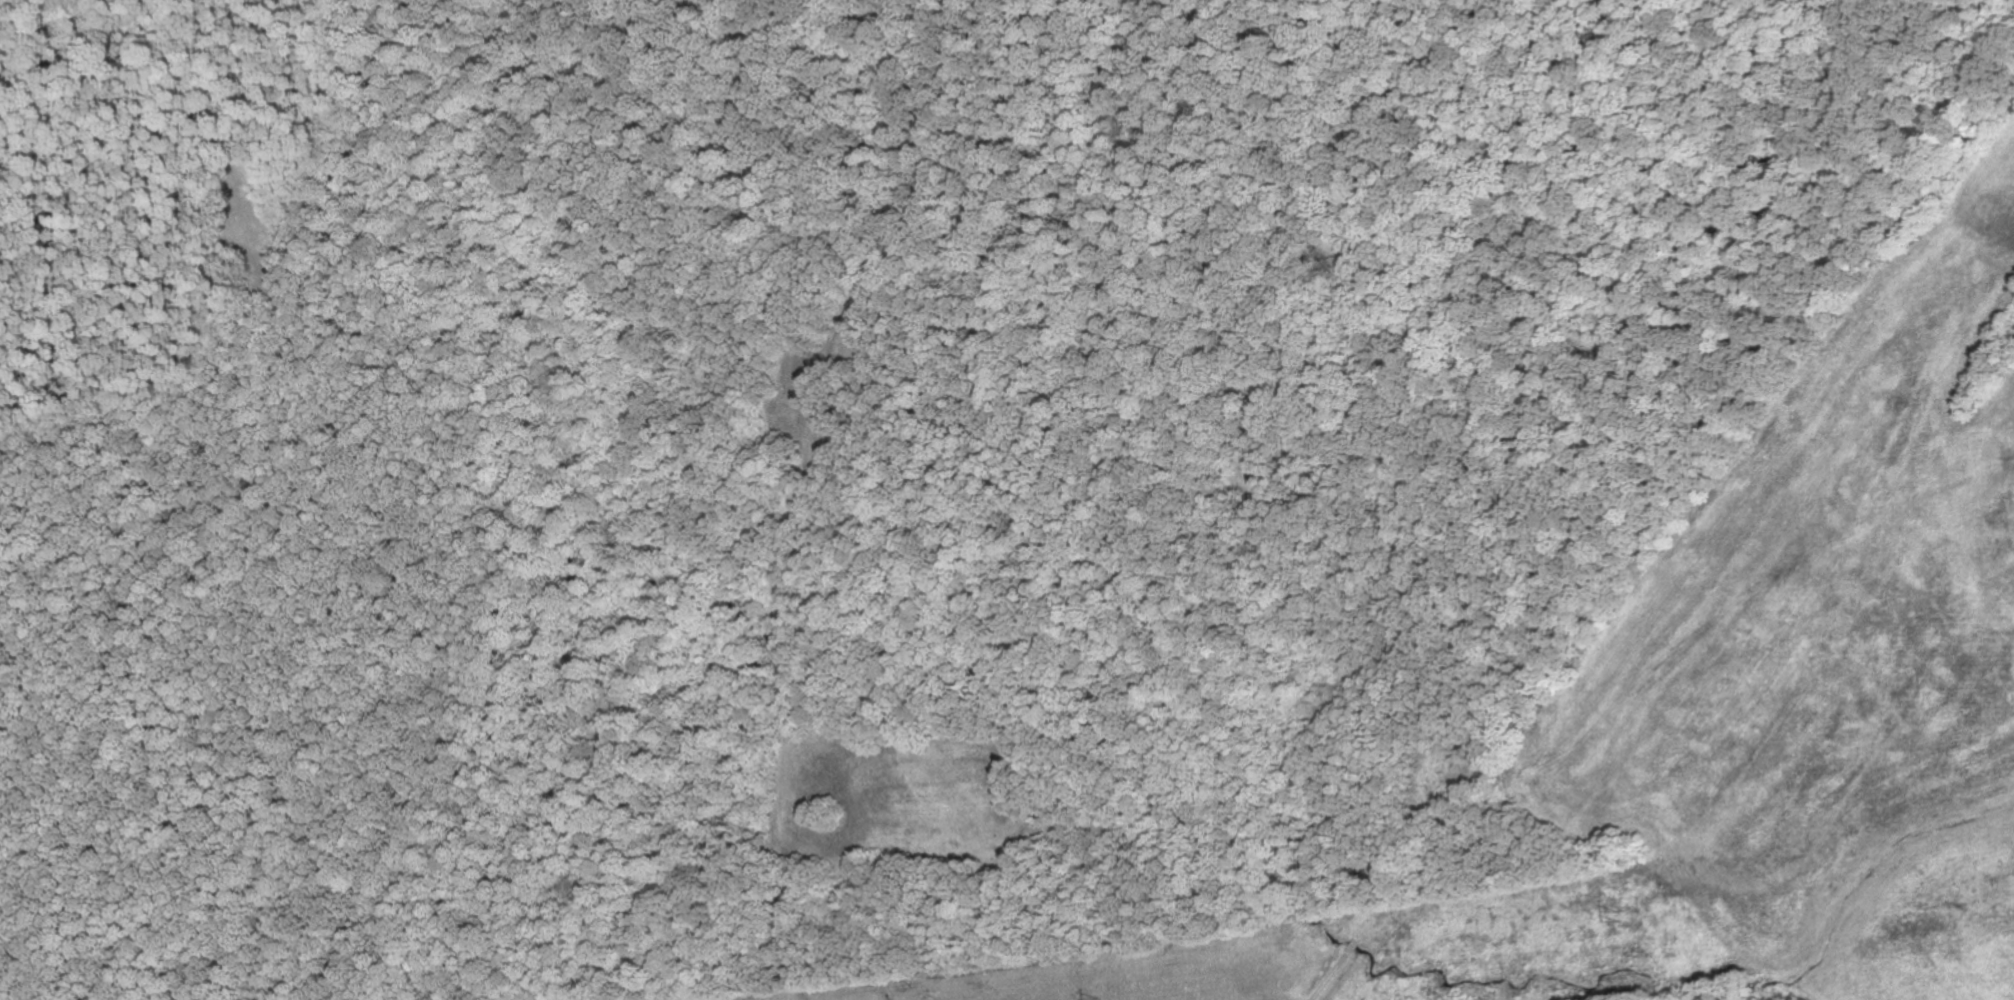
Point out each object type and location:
power tower: (1618, 919)
power tower: (1100, 998)

